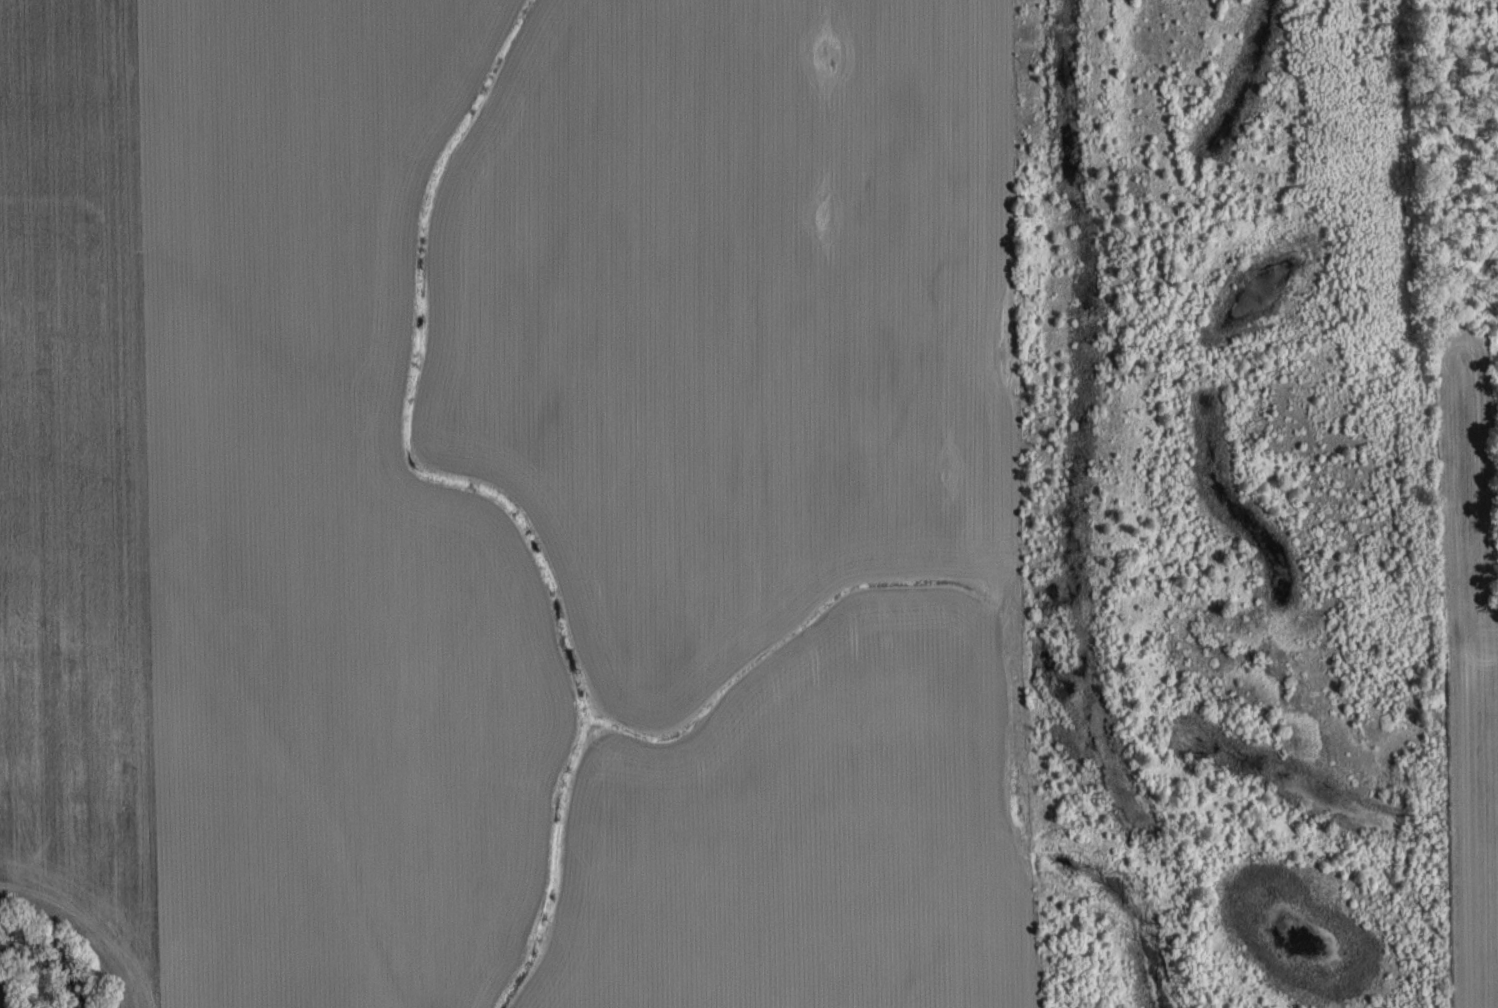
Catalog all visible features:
river: (37, 969)

